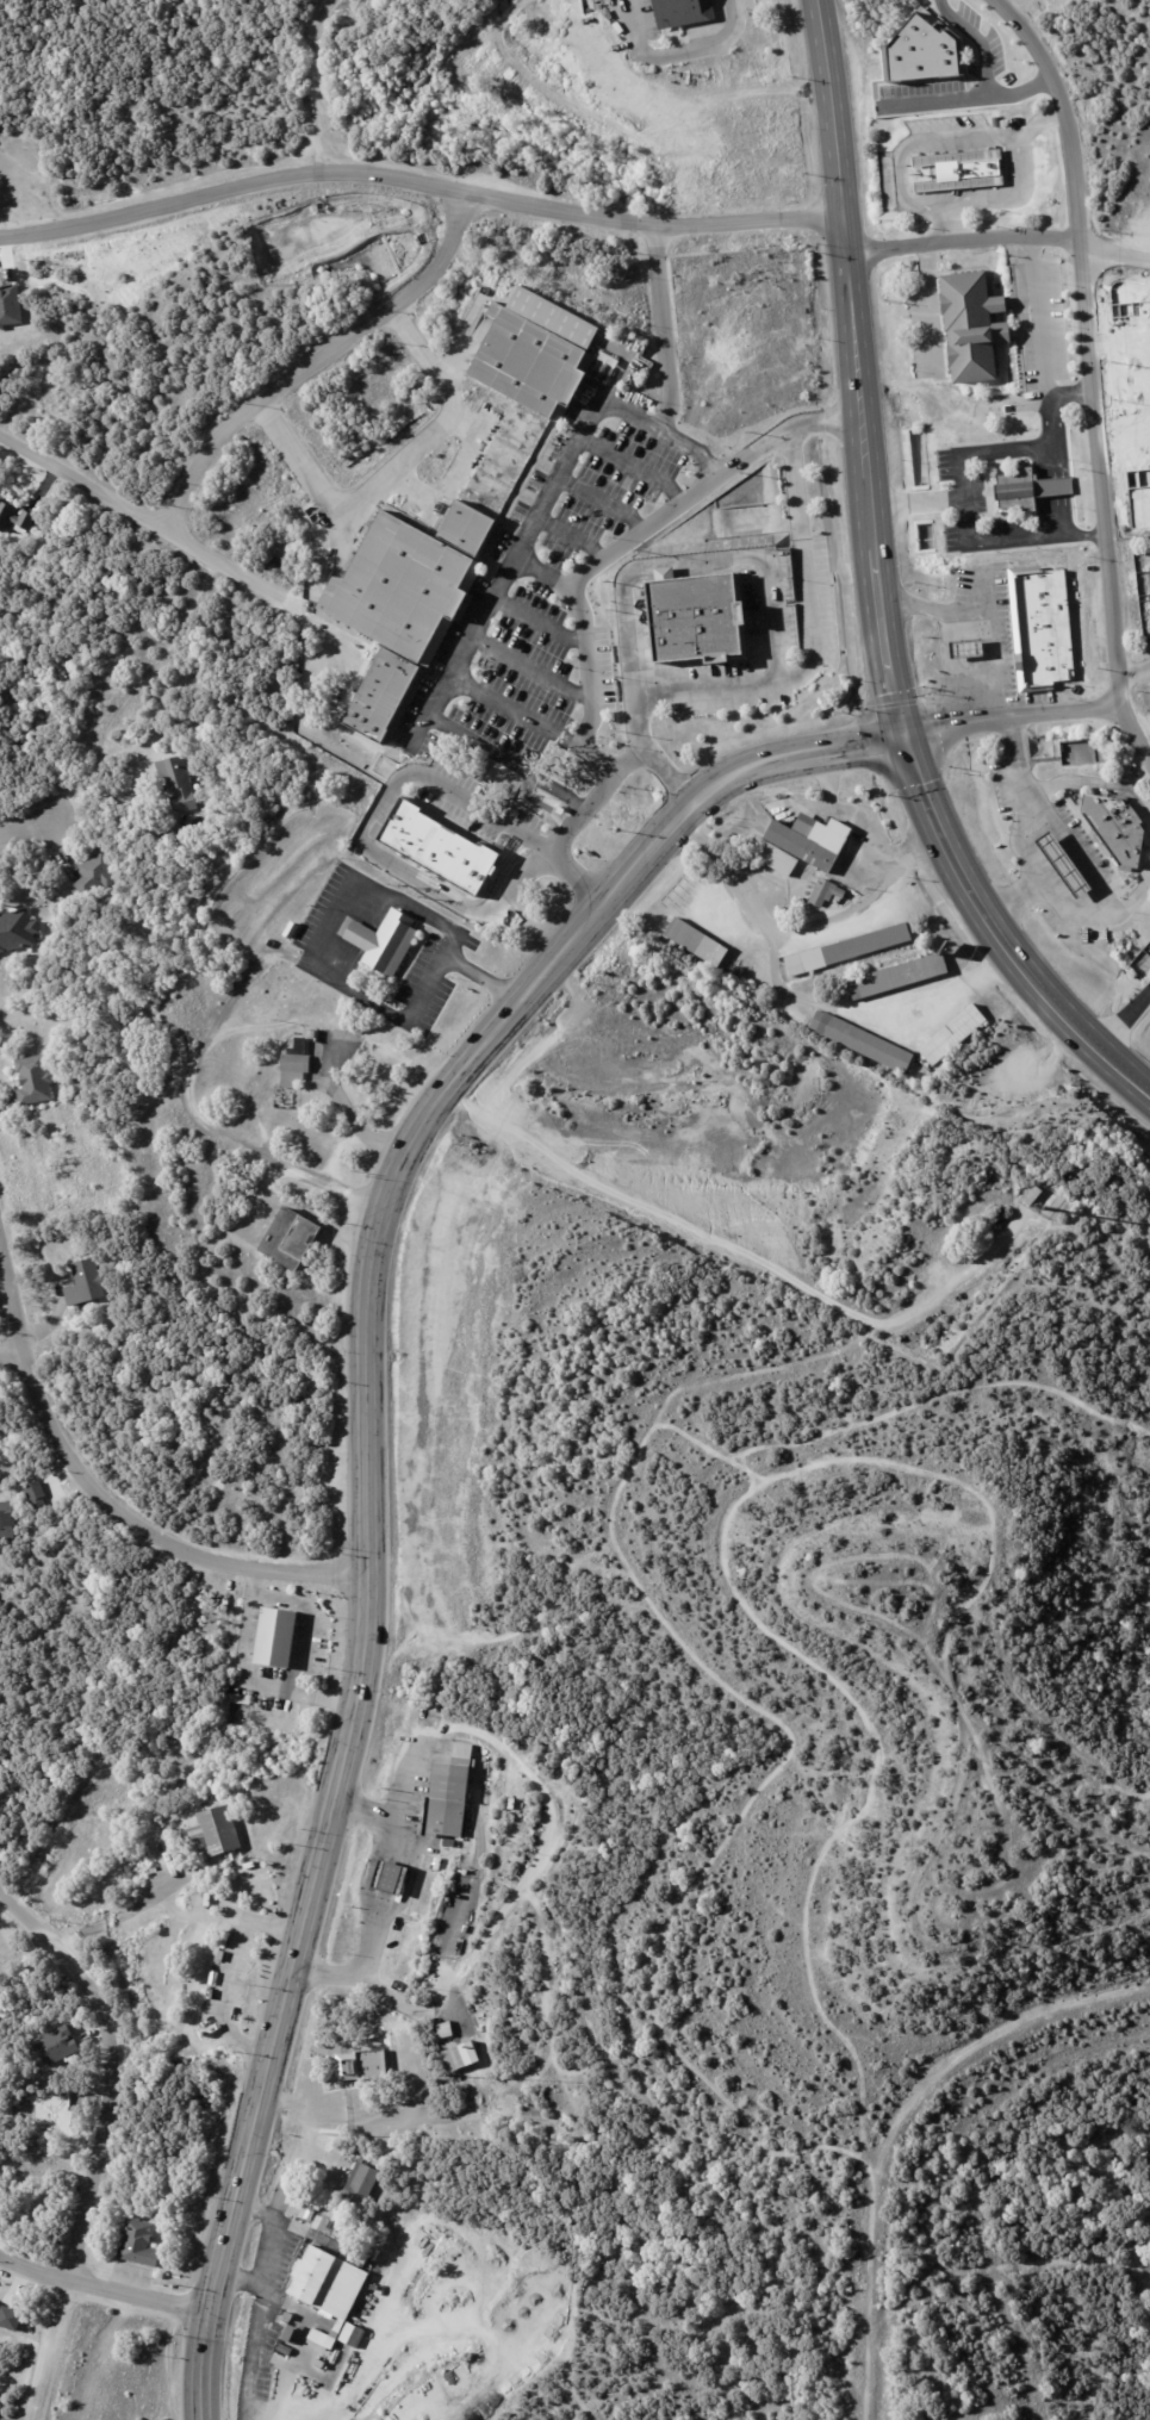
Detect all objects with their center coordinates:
road: (1020, 8)
building: (684, 13)
road: (680, 52)
road: (984, 74)
road: (318, 81)
building: (996, 122)
road: (951, 139)
building: (963, 175)
road: (417, 185)
road: (1001, 198)
road: (21, 199)
road: (838, 200)
road: (945, 224)
road: (997, 244)
road: (928, 307)
road: (1040, 326)
building: (976, 328)
road: (1087, 342)
road: (319, 359)
road: (669, 408)
road: (976, 462)
road: (636, 465)
road: (386, 469)
building: (1026, 493)
road: (605, 498)
road: (155, 516)
building: (15, 517)
building: (454, 517)
road: (576, 531)
road: (1092, 546)
road: (1008, 549)
building: (1052, 558)
road: (546, 566)
road: (695, 566)
road: (872, 570)
road: (983, 595)
road: (573, 598)
road: (485, 611)
road: (542, 615)
building: (702, 618)
road: (975, 618)
road: (800, 626)
building: (1049, 626)
building: (971, 647)
gas station: (971, 647)
road: (534, 661)
road: (1135, 682)
road: (1011, 716)
road: (1136, 734)
road: (399, 772)
building: (178, 784)
road: (1020, 800)
road: (765, 814)
road: (863, 822)
road: (25, 827)
building: (1114, 829)
building: (814, 840)
road: (1070, 840)
building: (439, 846)
building: (775, 857)
building: (1068, 863)
gas station: (1068, 863)
building: (98, 870)
building: (827, 892)
road: (1065, 900)
road: (344, 903)
road: (845, 910)
building: (17, 931)
building: (293, 931)
road: (997, 933)
building: (387, 943)
building: (698, 944)
building: (852, 951)
building: (908, 976)
road: (810, 1000)
building: (321, 1013)
road: (1124, 1019)
building: (956, 1037)
building: (864, 1043)
building: (245, 1053)
building: (294, 1069)
building: (33, 1081)
road: (335, 1083)
road: (188, 1097)
road: (256, 1196)
building: (1034, 1196)
building: (1055, 1200)
building: (286, 1237)
building: (86, 1282)
road: (11, 1349)
road: (367, 1454)
building: (35, 1494)
road: (113, 1494)
building: (6, 1519)
road: (309, 1618)
building: (276, 1637)
road: (249, 1674)
road: (412, 1800)
building: (449, 1803)
building: (218, 1831)
road: (374, 1870)
building: (394, 1885)
road: (150, 1895)
road: (229, 1973)
building: (443, 2029)
building: (54, 2045)
building: (456, 2059)
building: (363, 2070)
road: (411, 2077)
road: (449, 2119)
road: (895, 2121)
road: (101, 2139)
building: (362, 2185)
road: (256, 2210)
building: (139, 2245)
road: (267, 2260)
building: (365, 2262)
road: (242, 2279)
building: (329, 2287)
road: (105, 2288)
building: (10, 2318)
road: (423, 2326)
building: (292, 2335)
building: (286, 2350)

